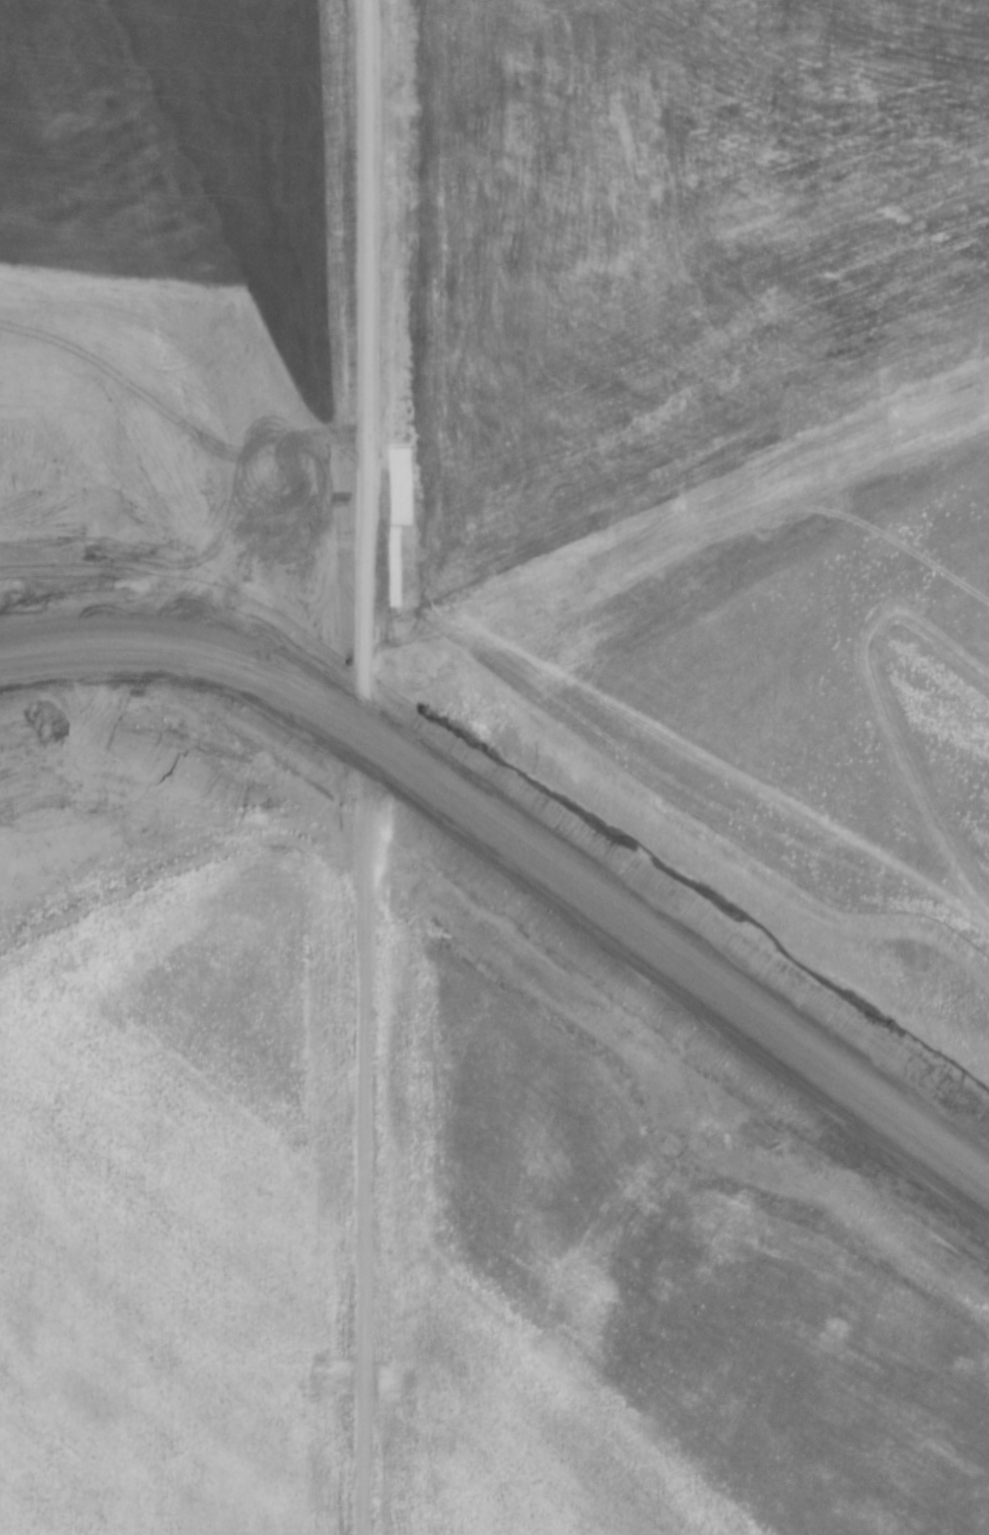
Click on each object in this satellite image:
quarry: (835, 121)

